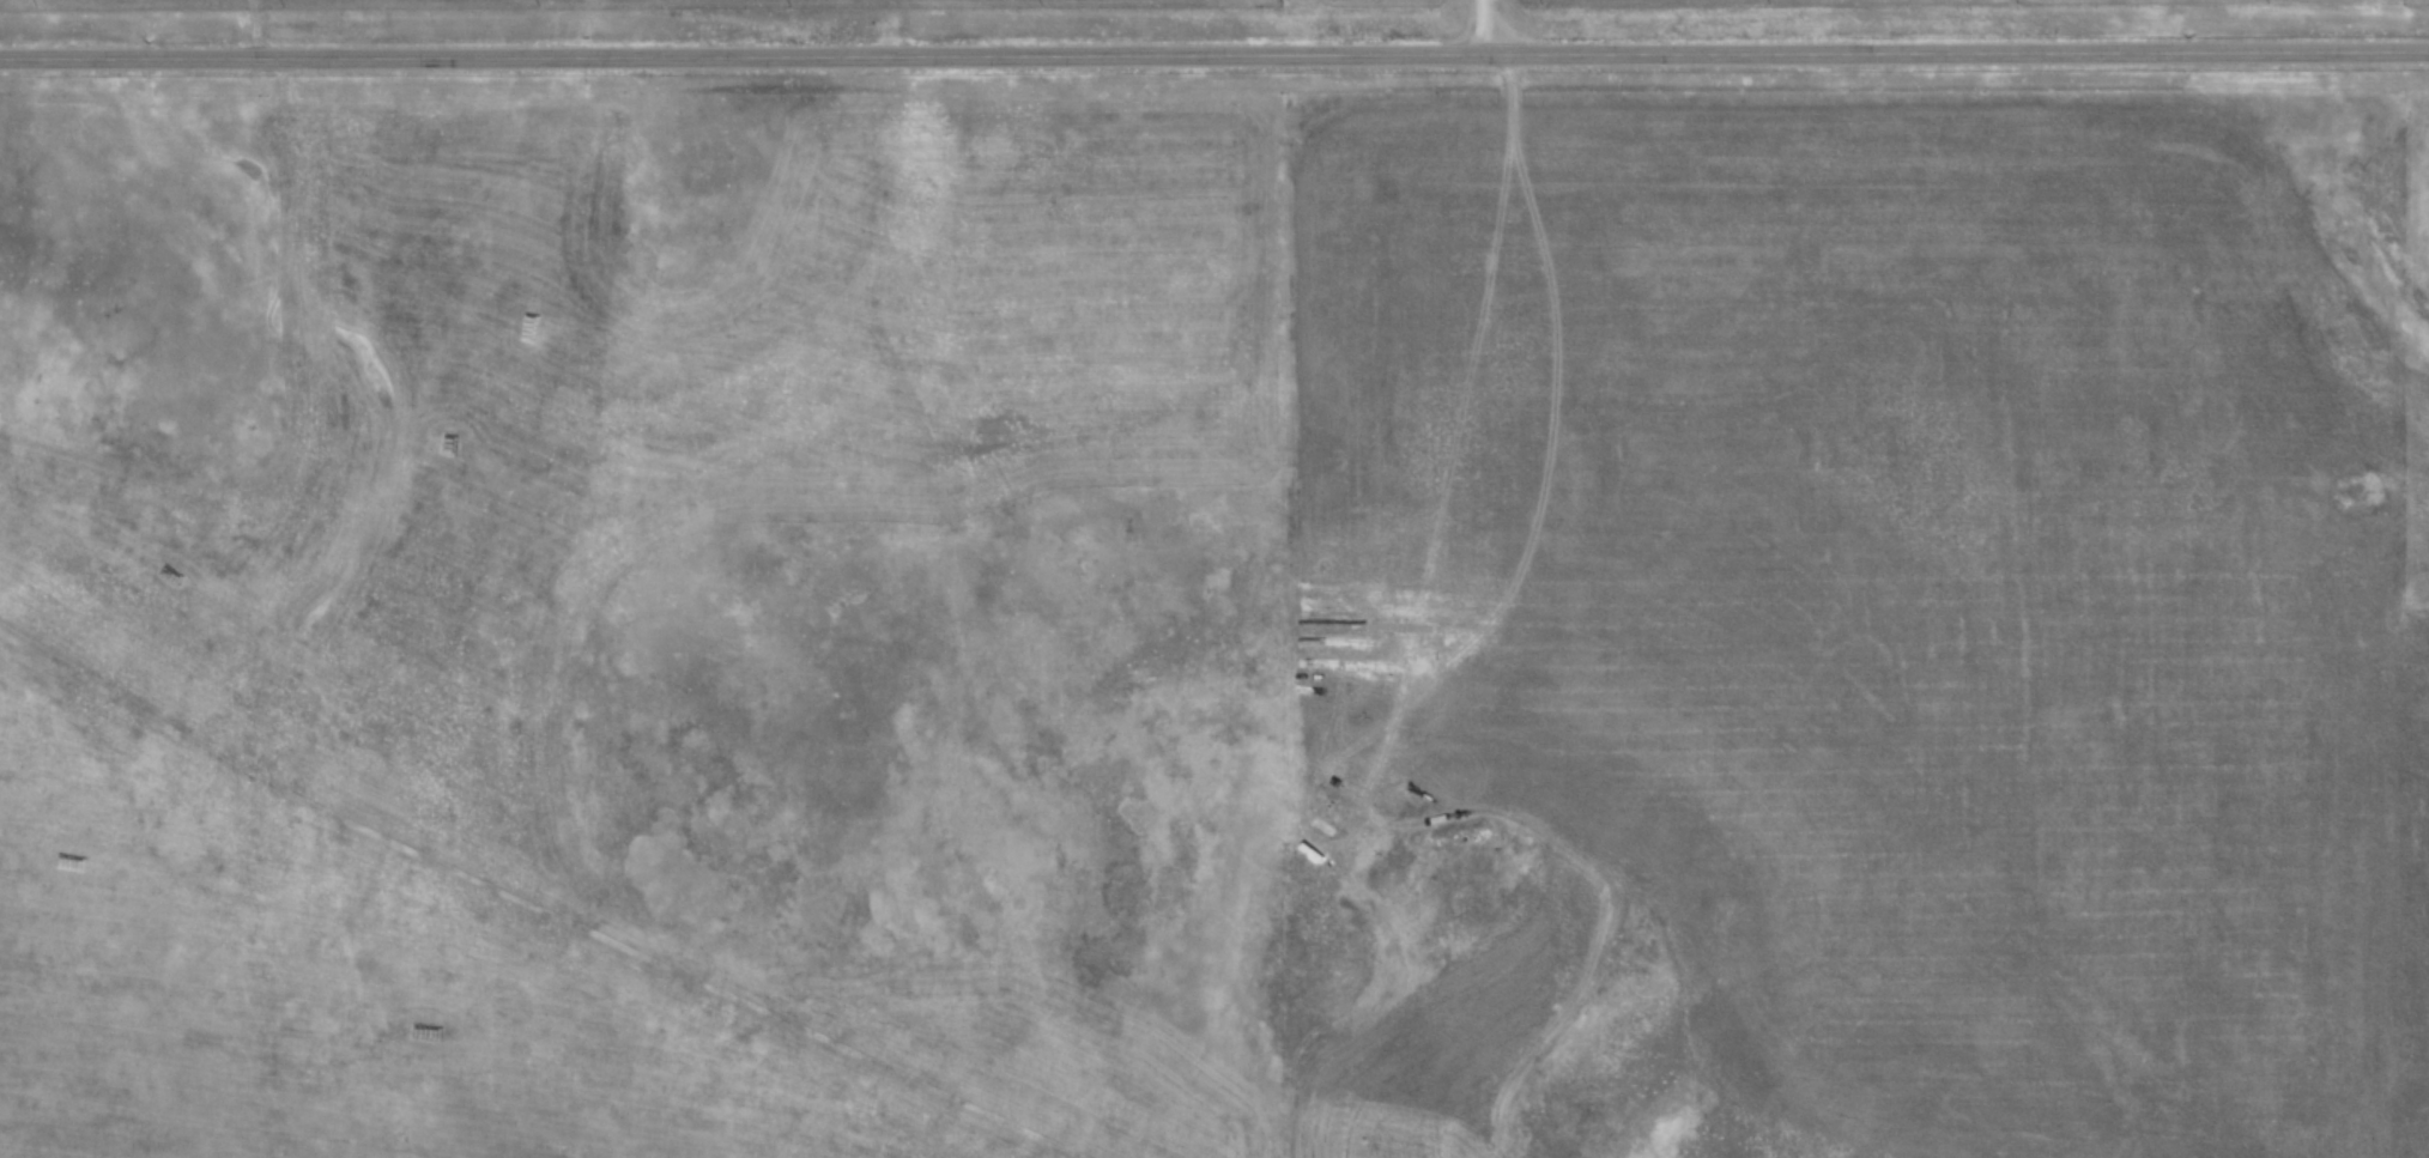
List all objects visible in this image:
road: (1214, 53)

